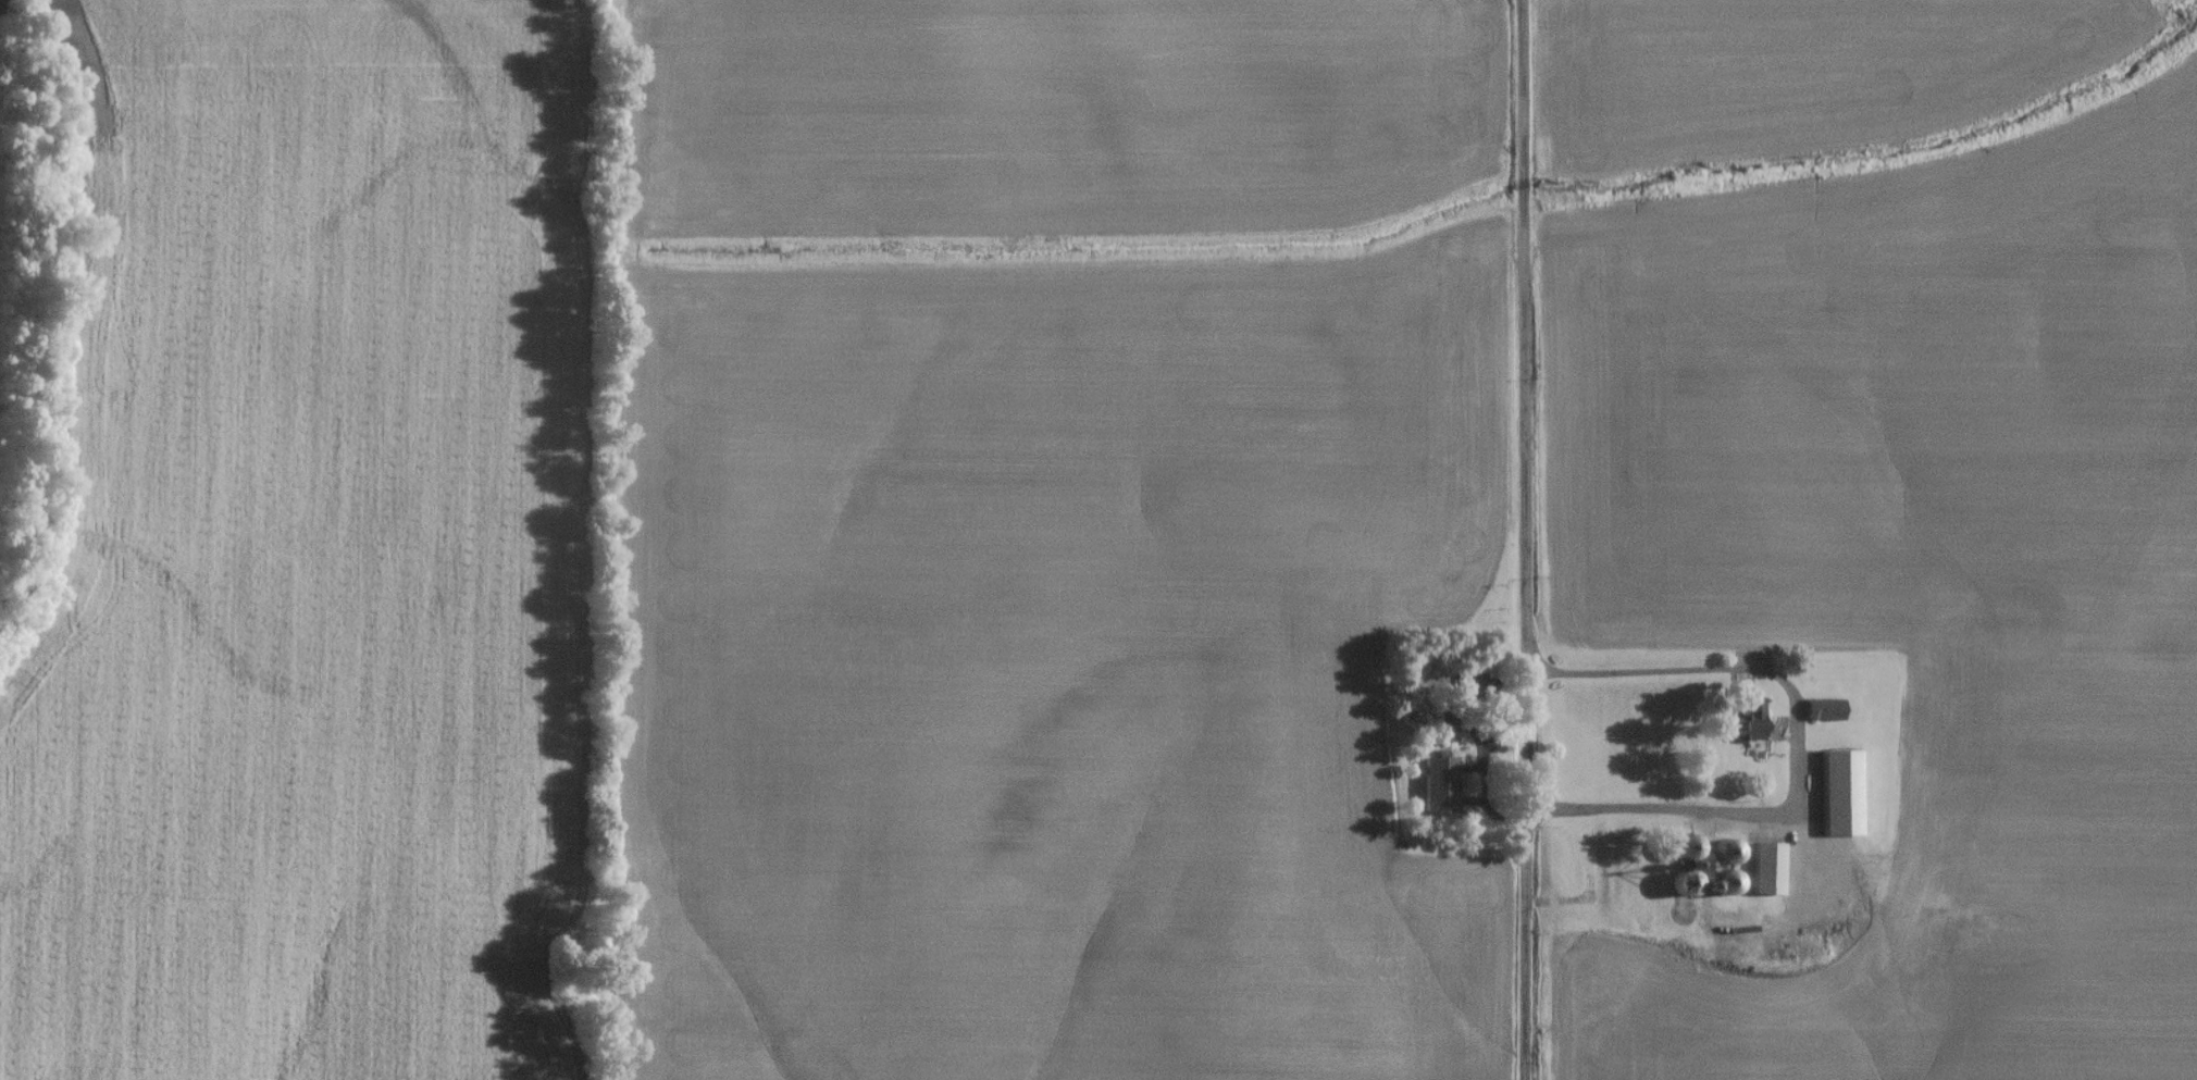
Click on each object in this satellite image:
building: (2026, 75)
road: (1524, 539)
building: (1476, 685)
building: (1821, 711)
building: (1741, 727)
road: (1792, 738)
building: (1438, 787)
building: (1838, 795)
building: (1684, 848)
building: (1724, 853)
building: (1765, 870)
building: (1724, 883)
building: (1679, 885)

